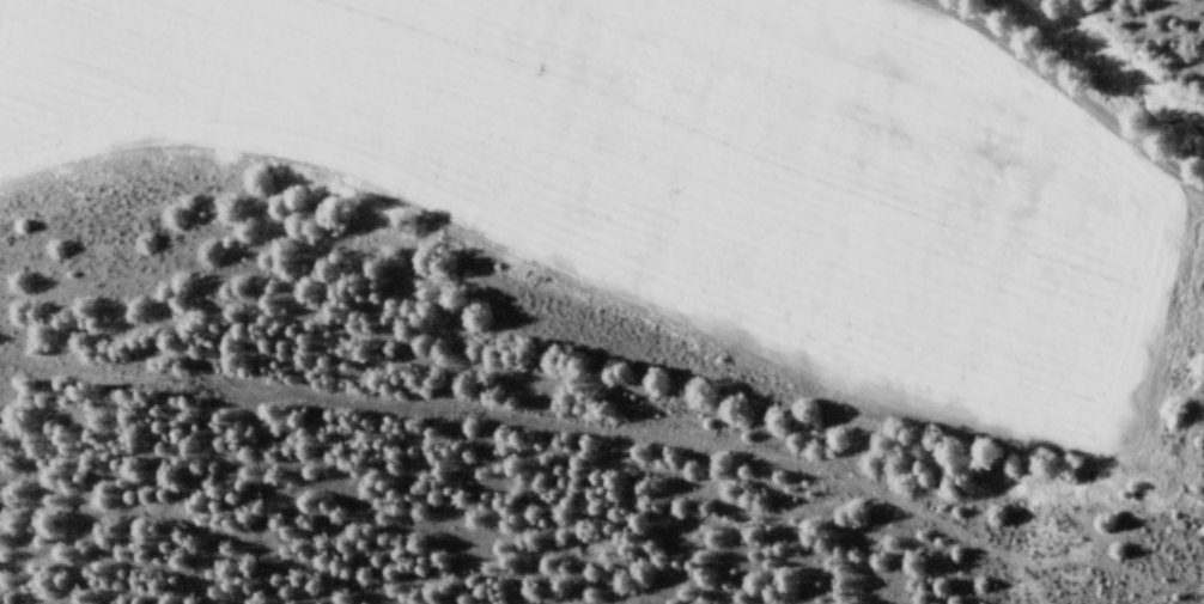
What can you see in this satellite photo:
road: (1070, 85)

